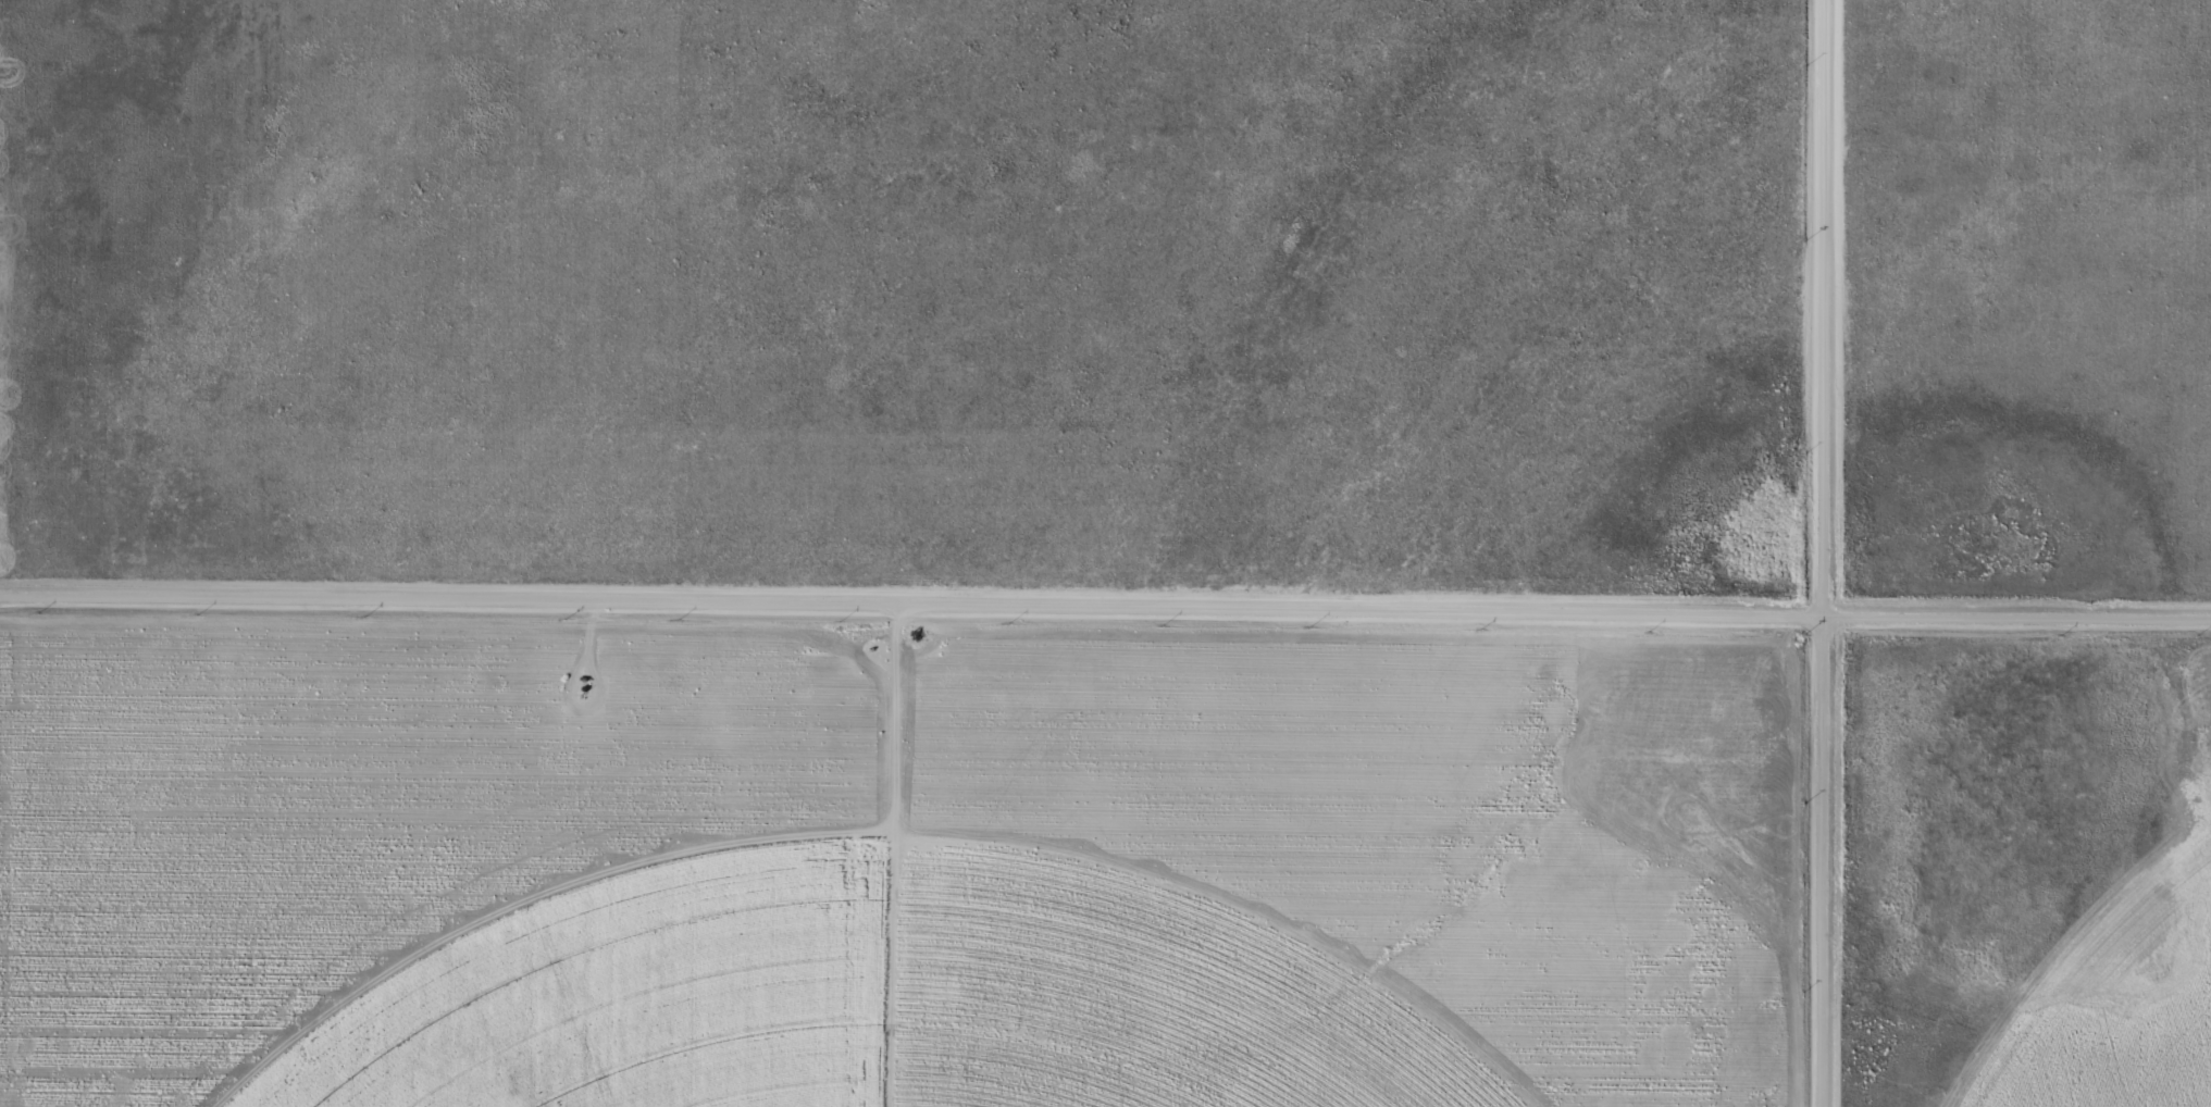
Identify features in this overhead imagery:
road: (1858, 553)
road: (1105, 607)
road: (775, 855)

